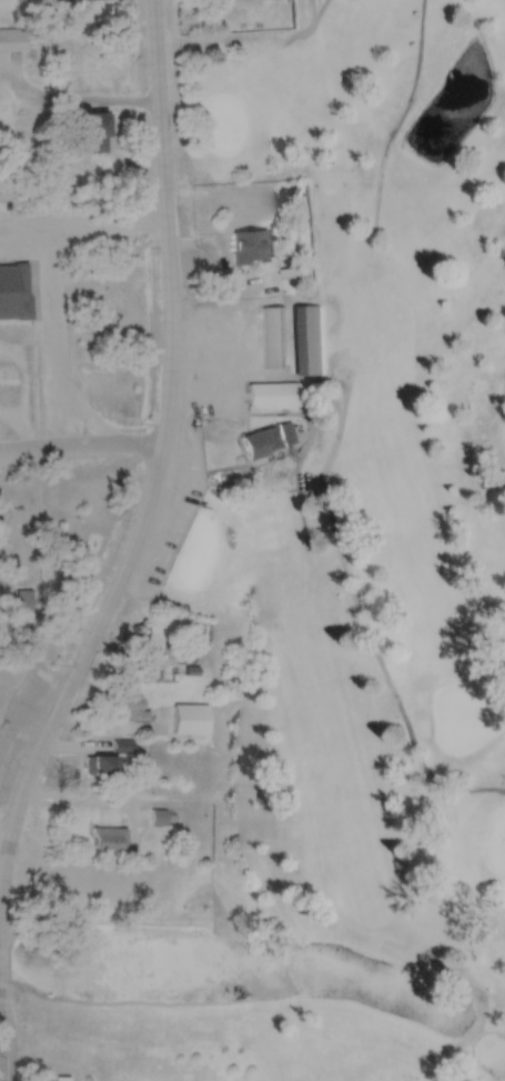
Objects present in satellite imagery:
building: (95, 0)
building: (12, 41)
road: (82, 234)
building: (252, 248)
building: (294, 281)
building: (16, 293)
building: (275, 337)
building: (312, 339)
road: (62, 373)
building: (276, 396)
building: (269, 440)
road: (67, 450)
road: (159, 469)
park: (355, 507)
building: (147, 672)
building: (131, 710)
building: (109, 760)
building: (158, 819)
building: (109, 839)
road: (472, 1037)

